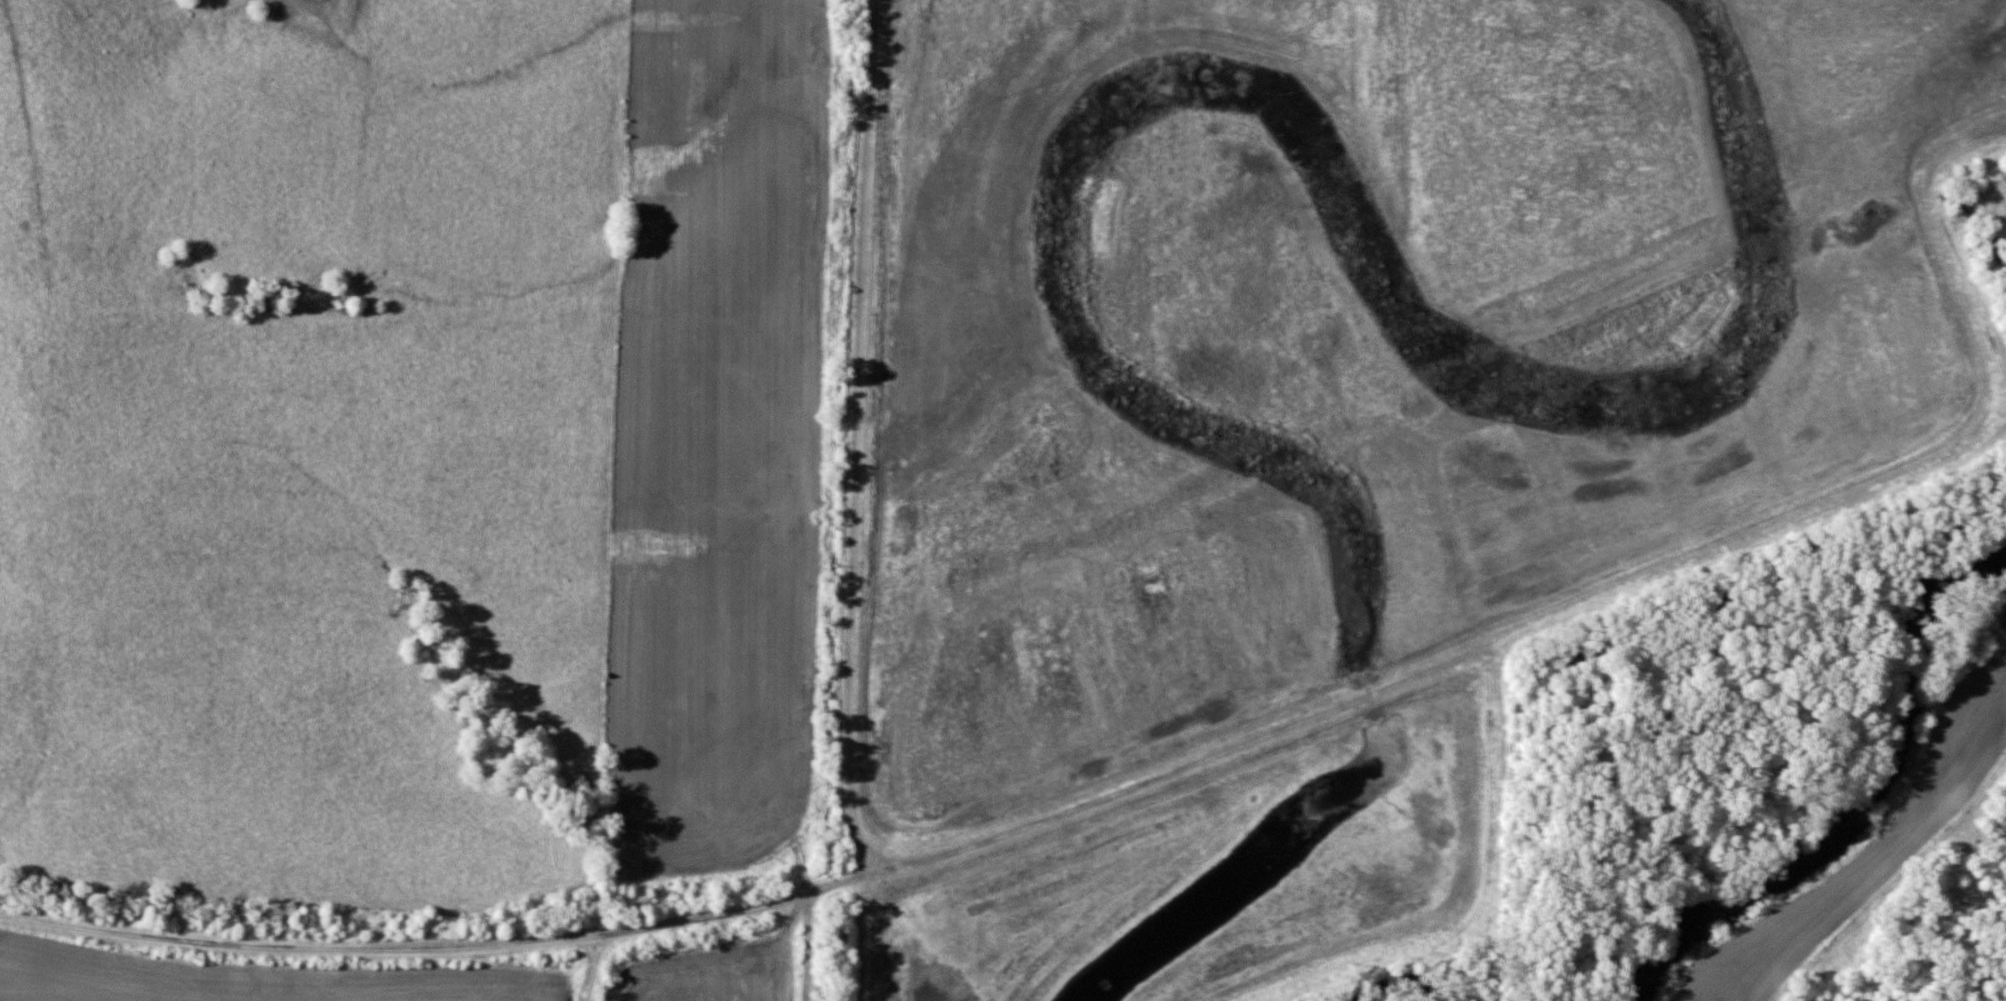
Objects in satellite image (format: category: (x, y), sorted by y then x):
river: (1857, 807)

